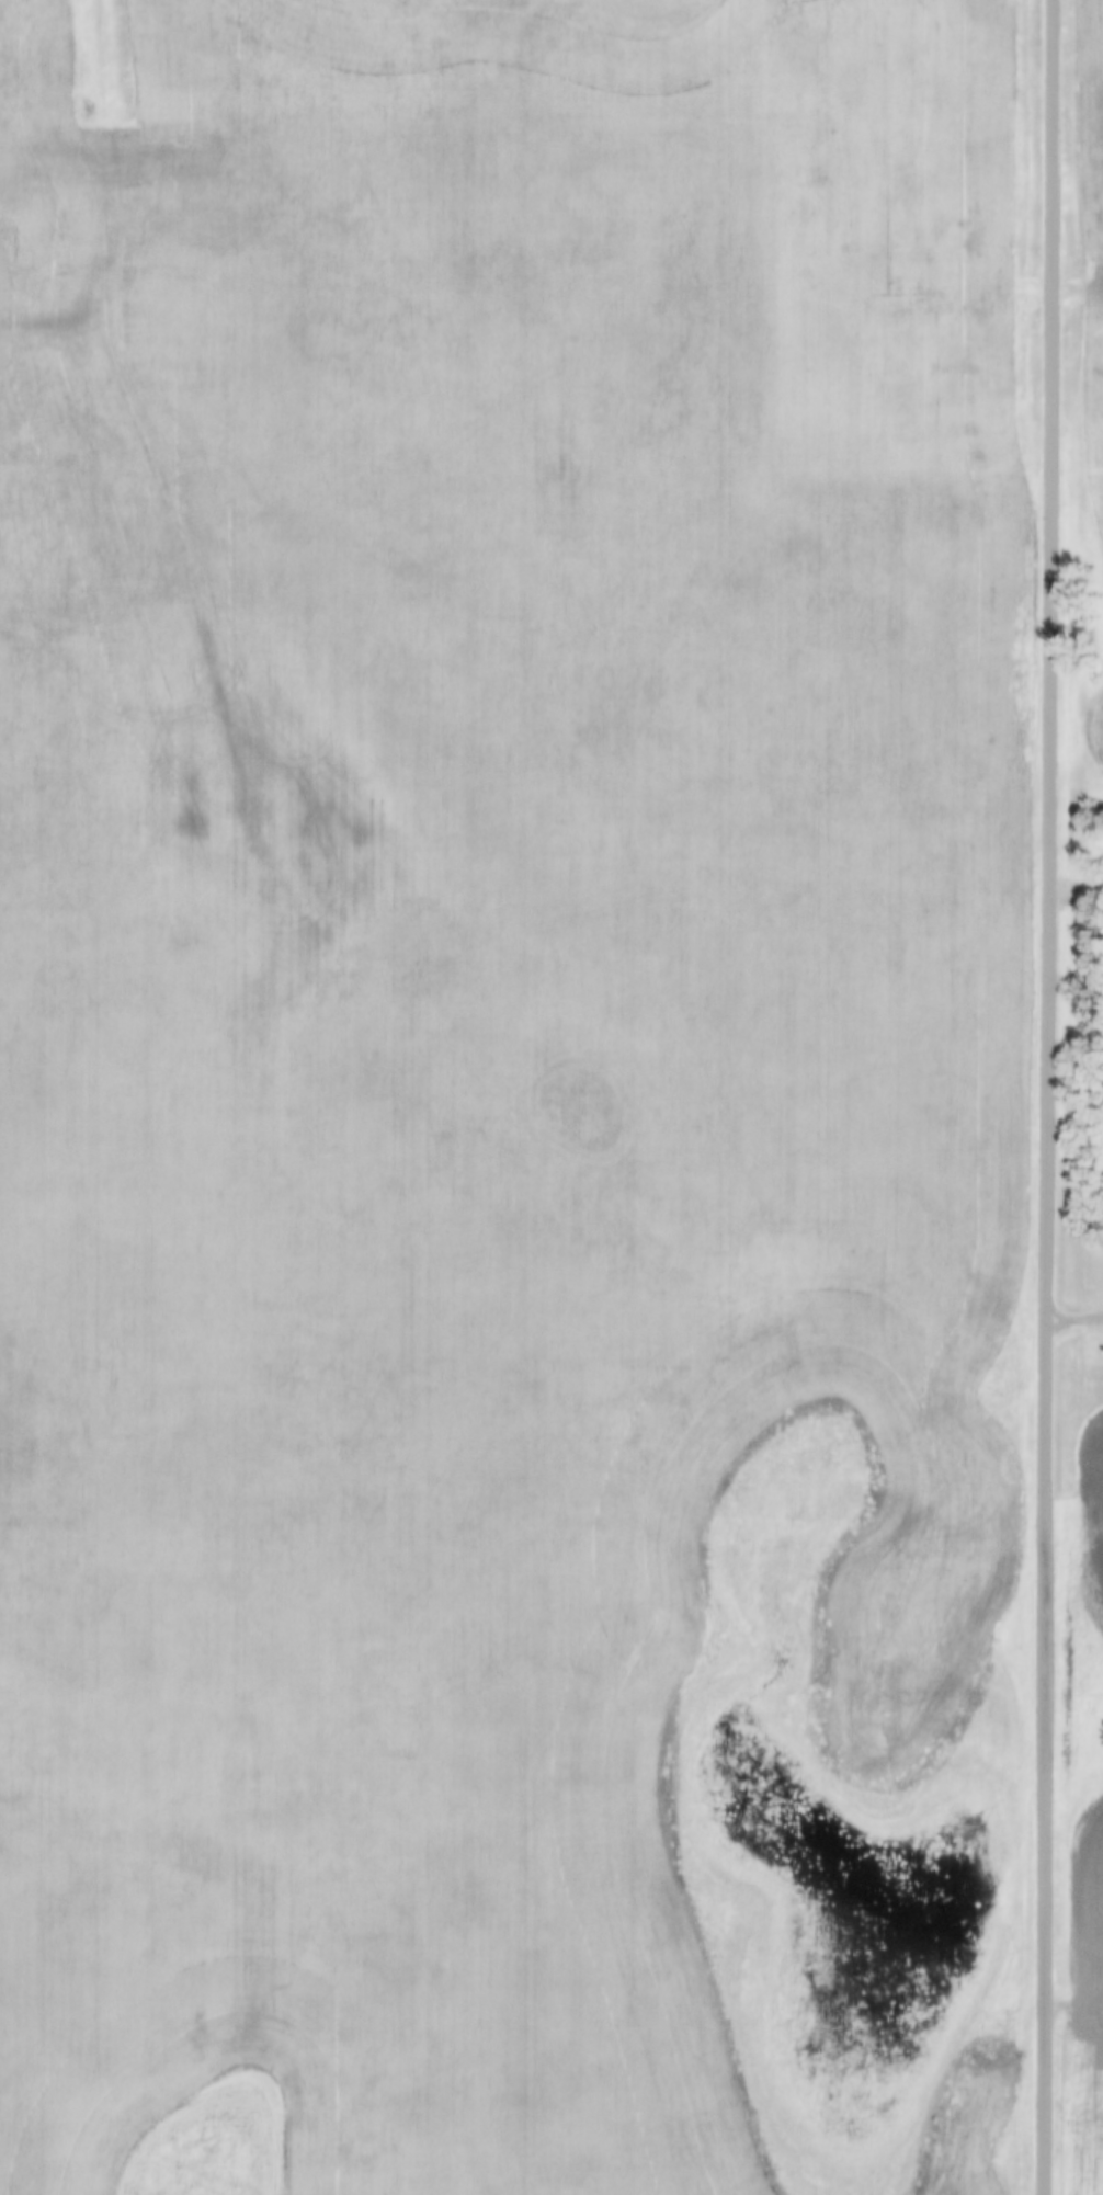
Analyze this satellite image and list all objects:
road: (1048, 1097)
road: (1074, 1320)

